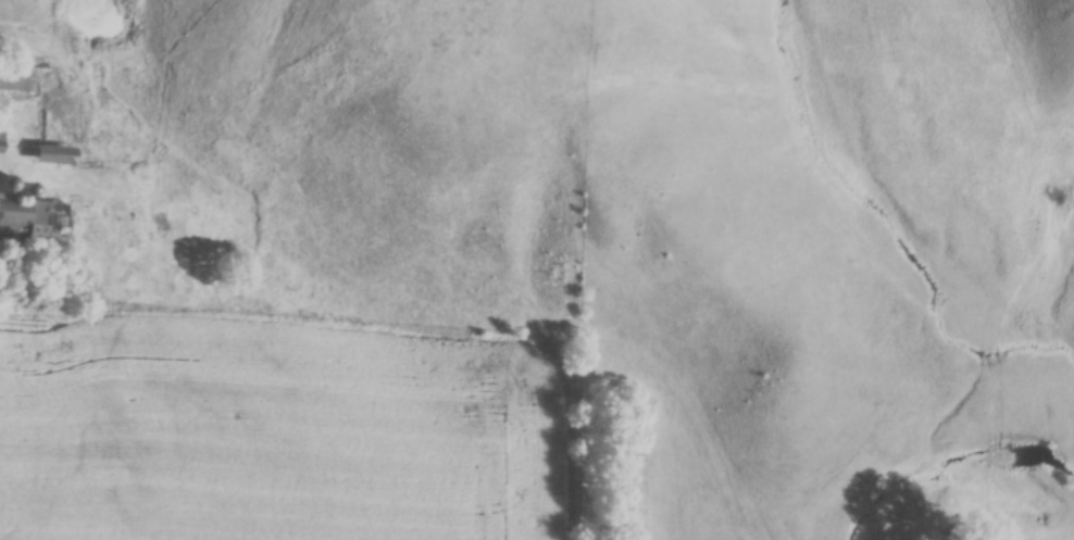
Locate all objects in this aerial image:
building: (24, 79)
building: (59, 155)
road: (25, 164)
building: (29, 219)

